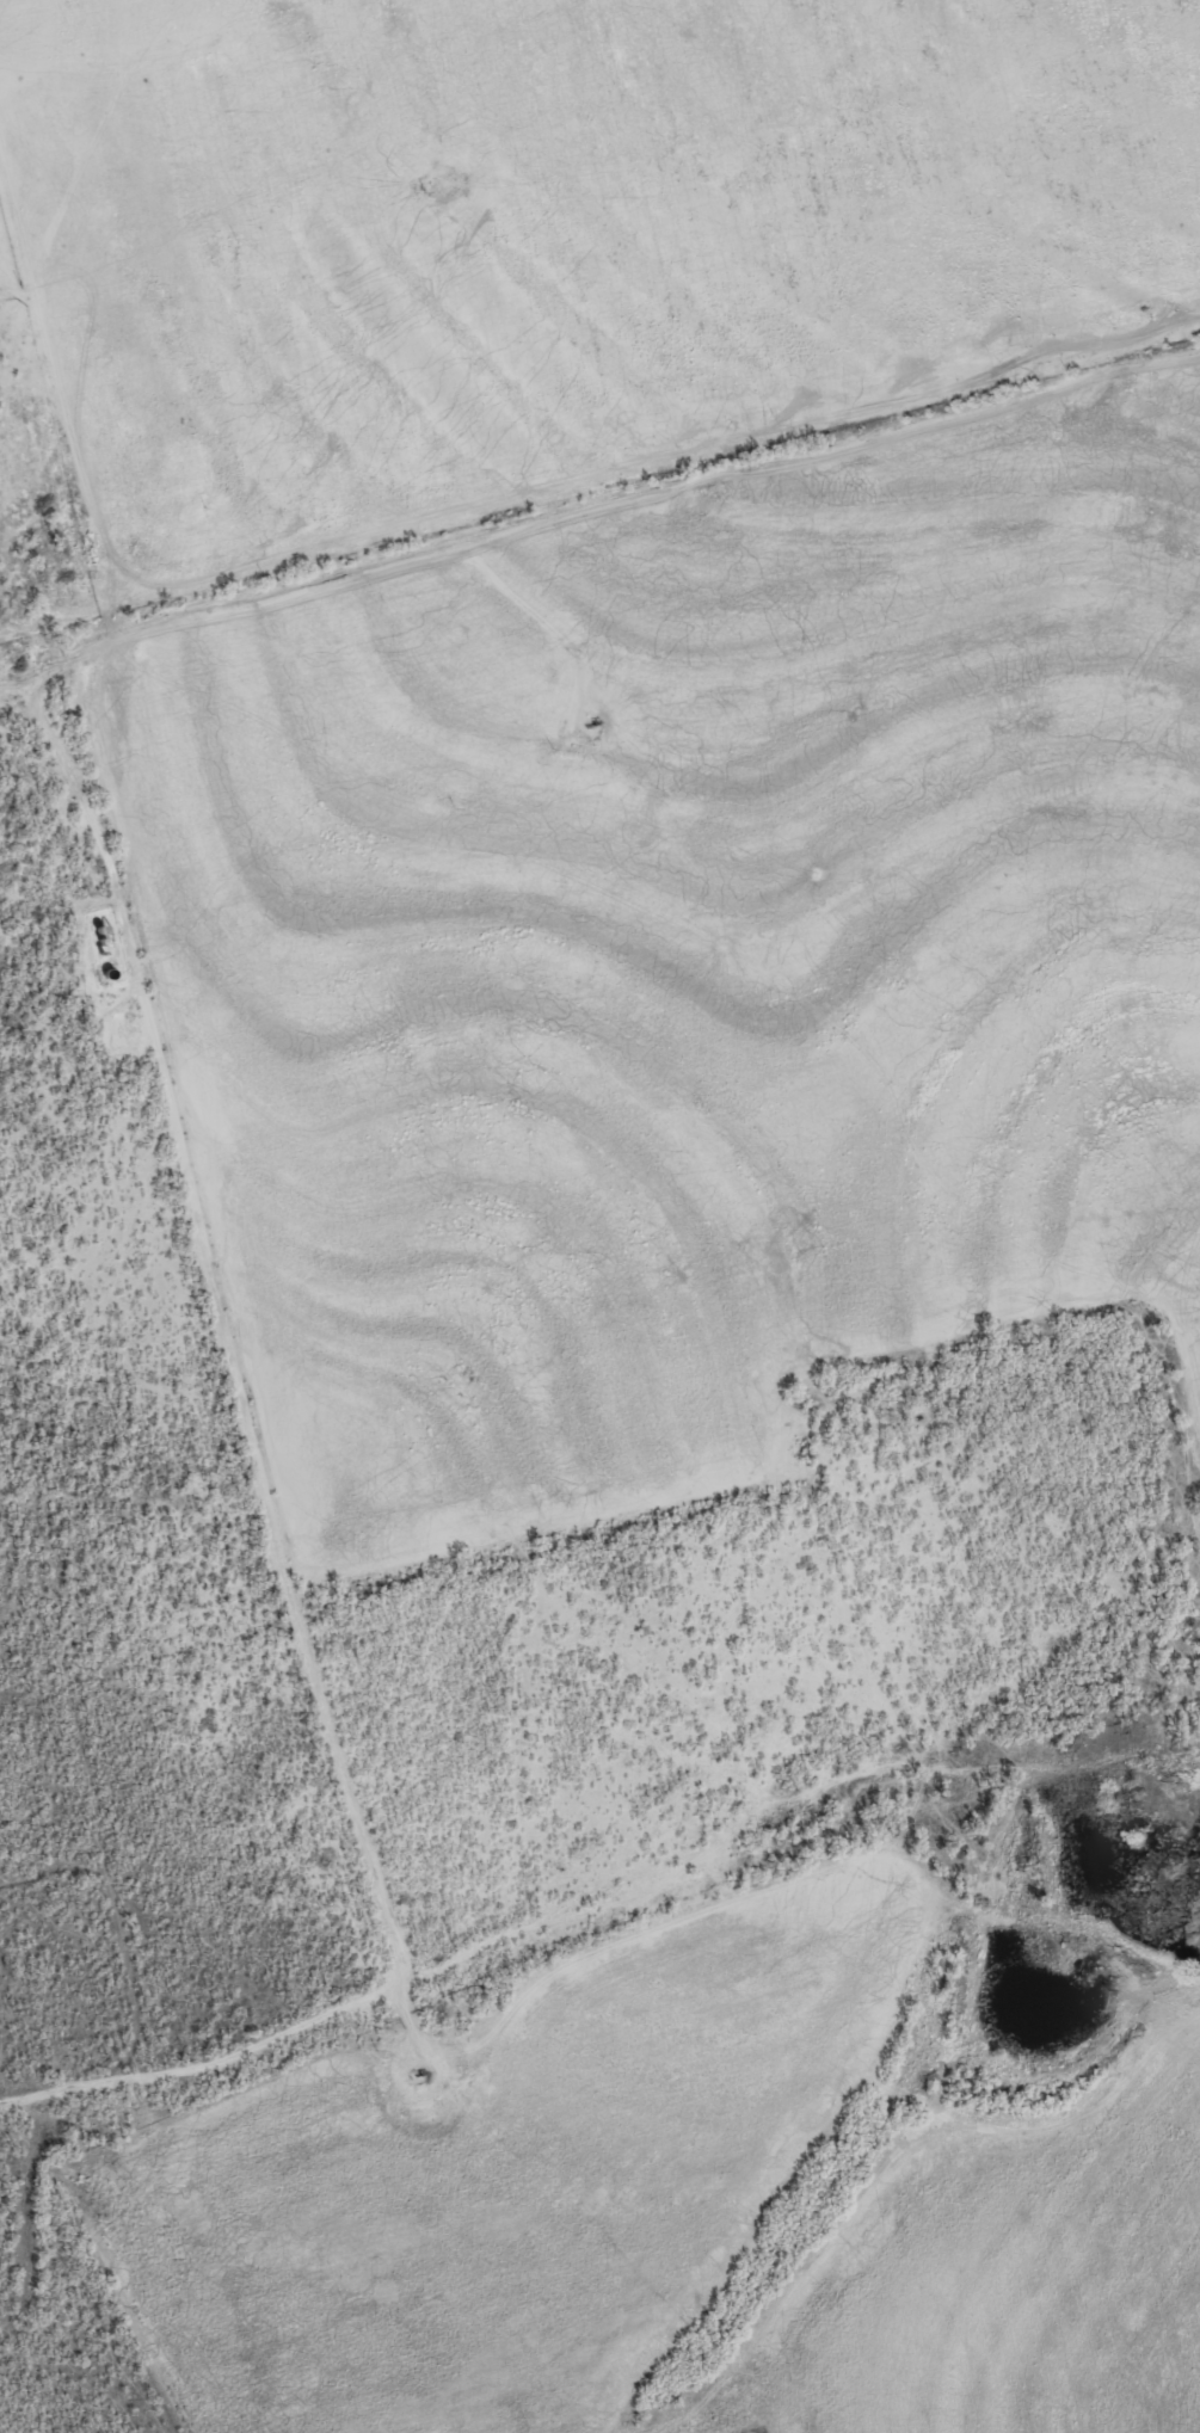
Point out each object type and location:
road: (566, 450)
road: (82, 1782)
road: (644, 1828)

